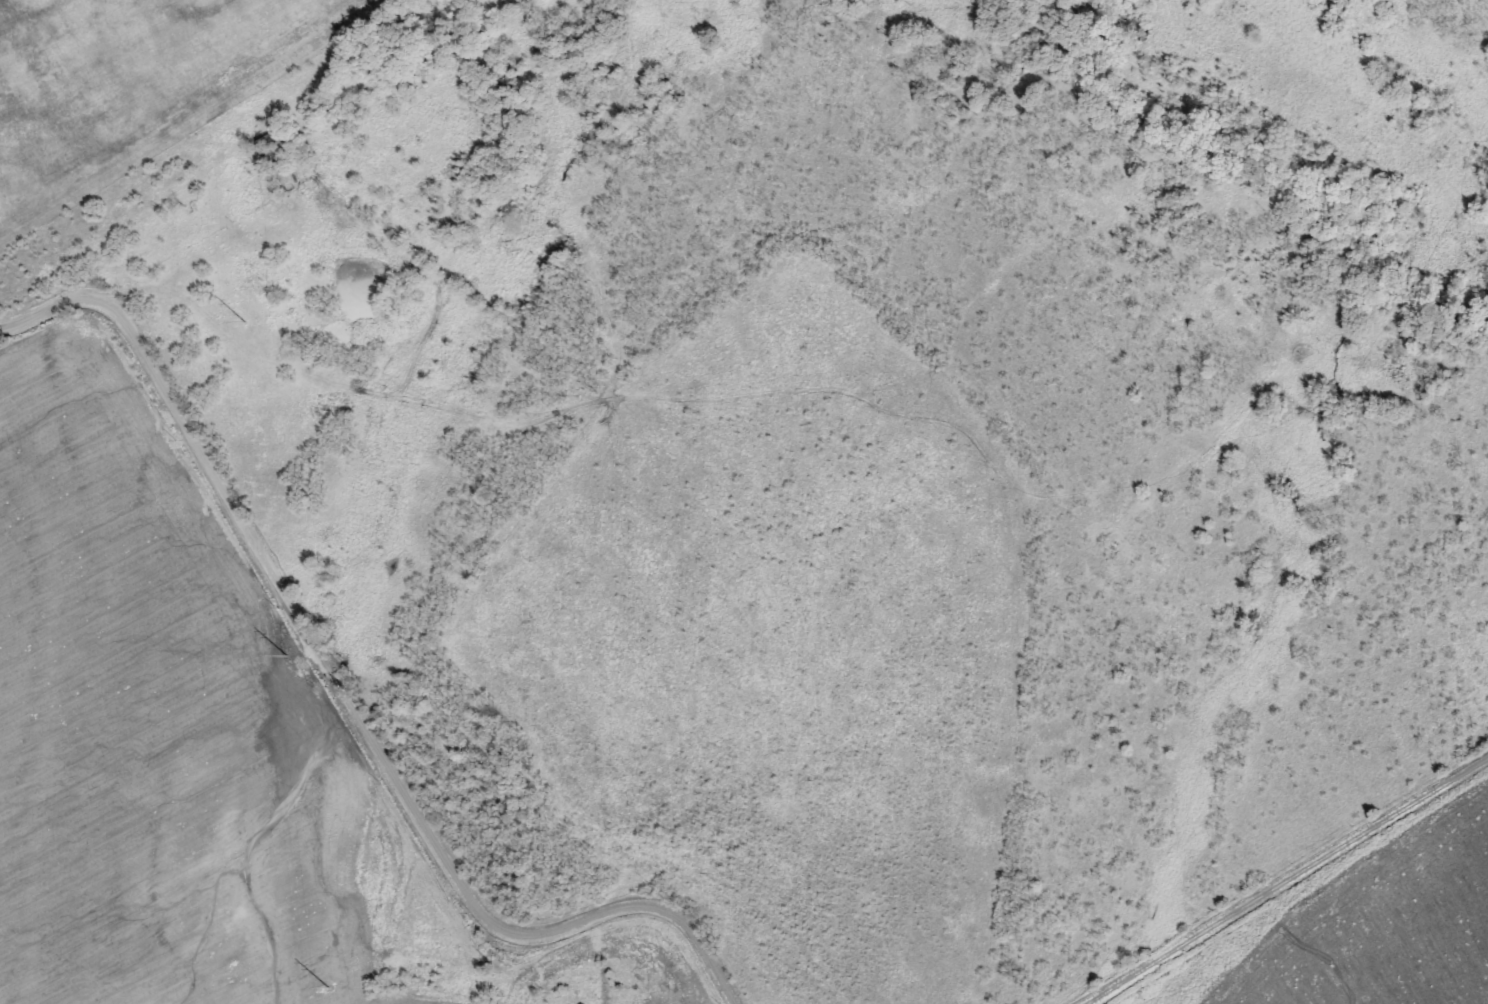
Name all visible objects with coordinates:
building: (270, 139)
road: (171, 239)
power tower: (245, 320)
power tower: (286, 654)
road: (344, 693)
road: (1287, 878)
power tower: (328, 985)

